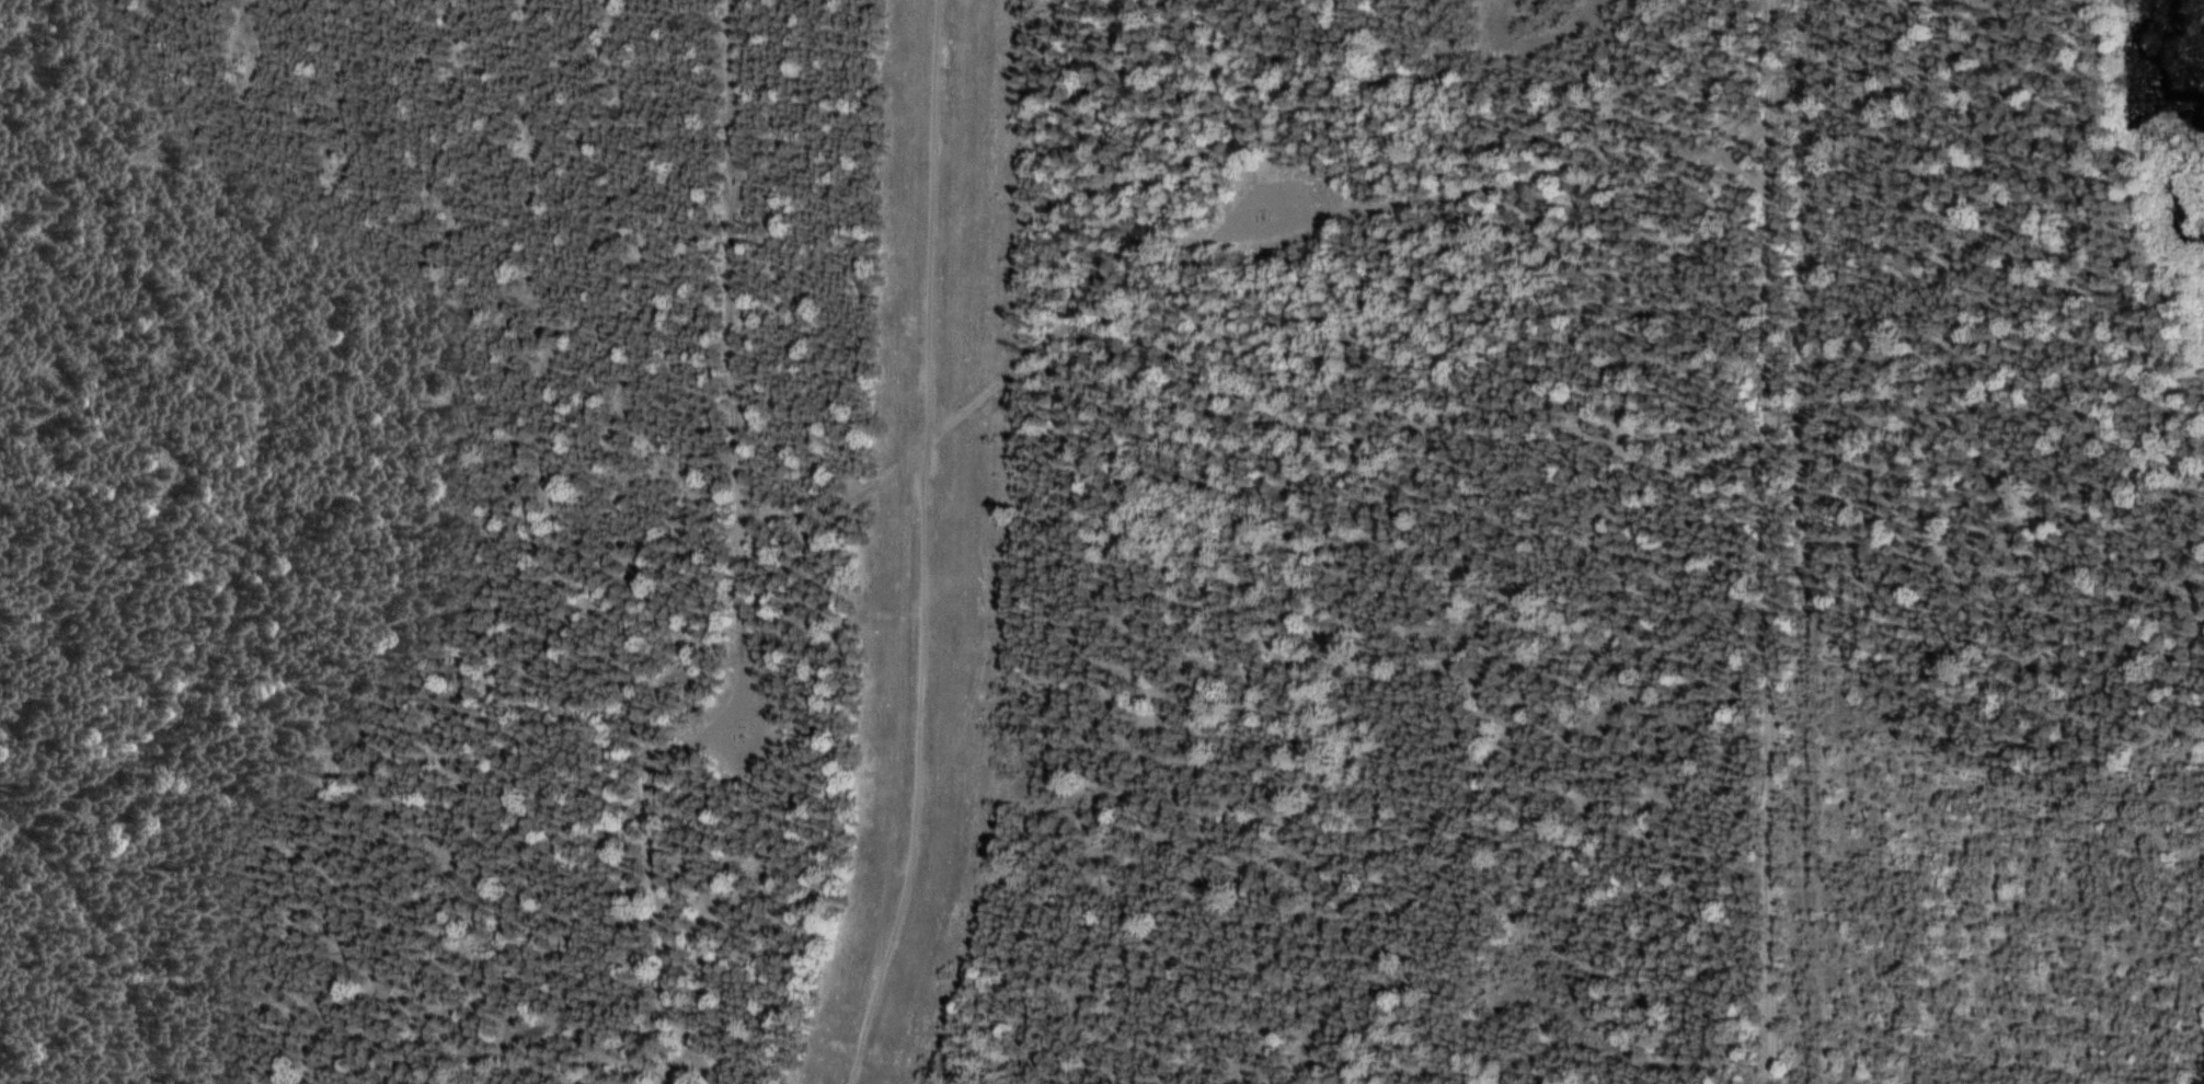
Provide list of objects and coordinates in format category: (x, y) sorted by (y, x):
road: (1217, 254)
road: (1775, 542)
road: (918, 545)
road: (738, 562)
road: (100, 774)
road: (92, 945)
road: (1726, 1073)

